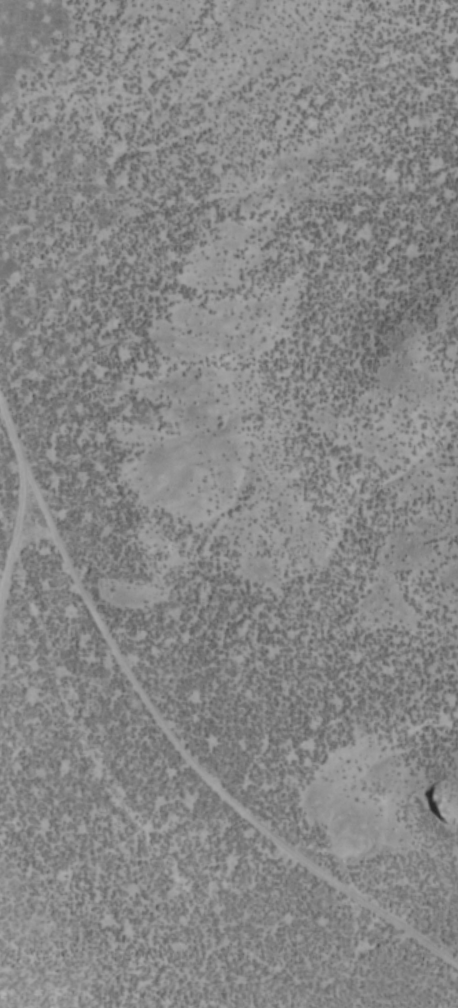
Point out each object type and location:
road: (168, 732)

